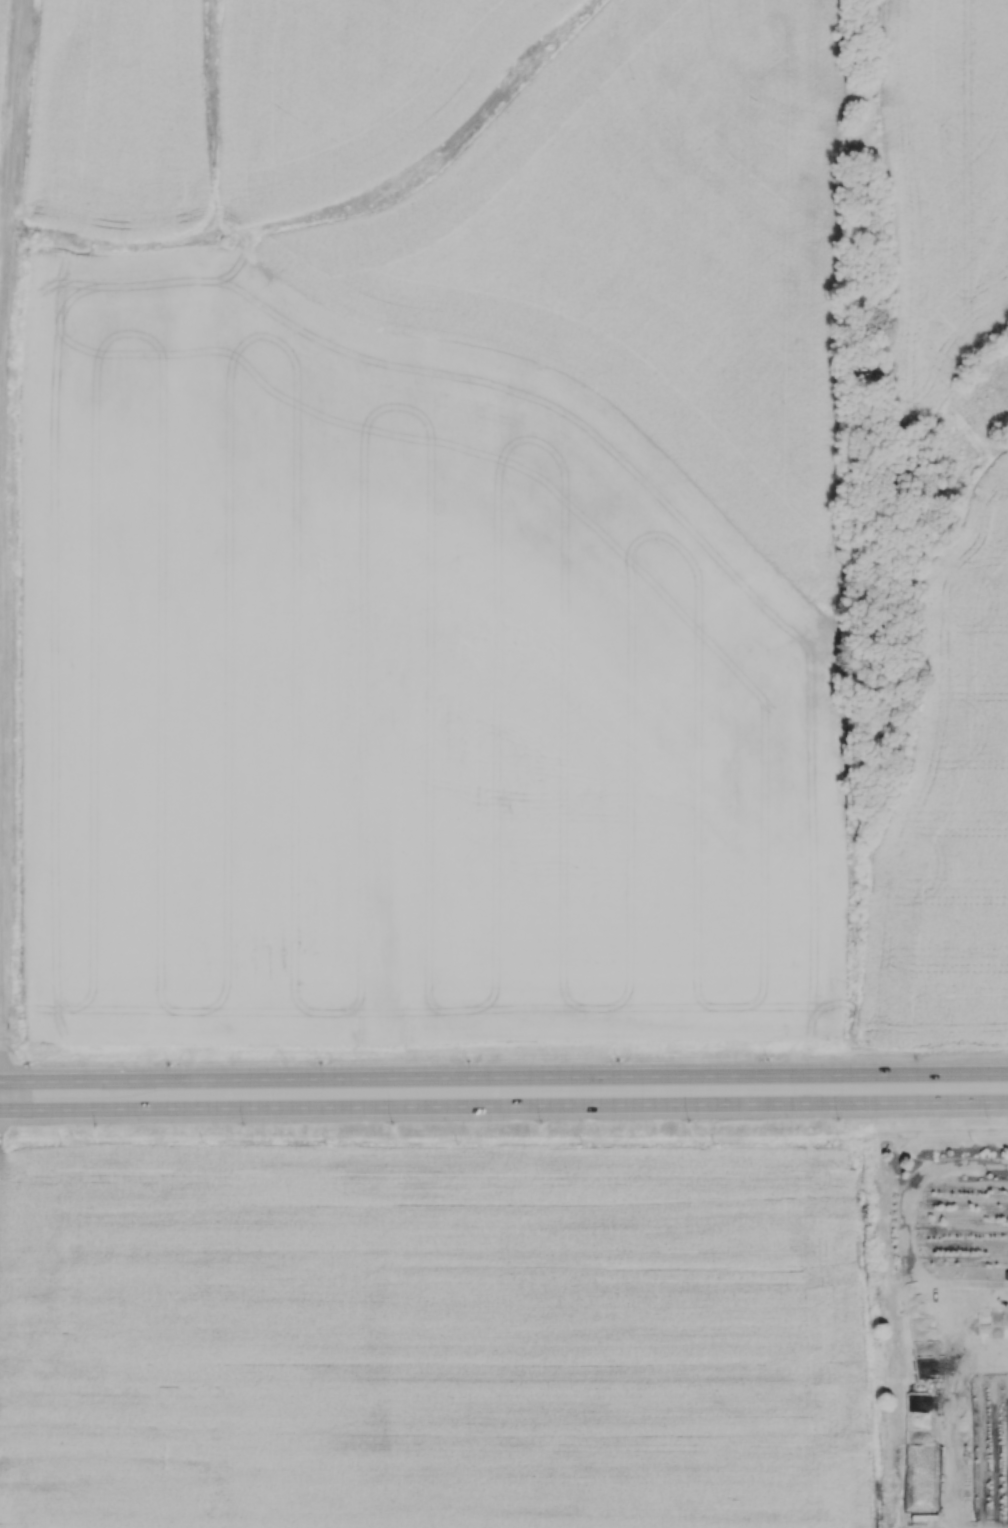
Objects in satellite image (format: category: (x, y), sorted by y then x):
road: (10, 177)
crop: (943, 184)
road: (503, 1077)
road: (0, 1096)
road: (503, 1106)
crop: (431, 1338)

